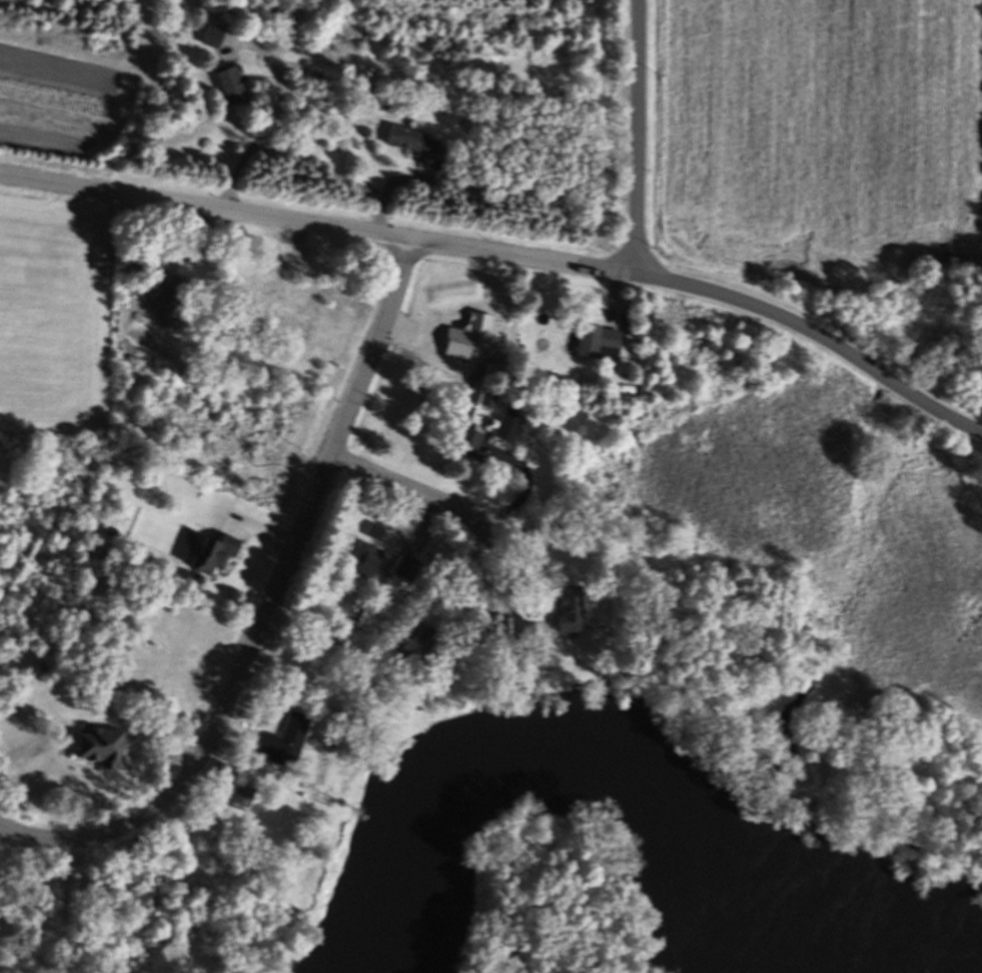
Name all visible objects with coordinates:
building: (213, 40)
building: (233, 89)
road: (265, 120)
road: (640, 137)
crop: (827, 139)
building: (414, 145)
road: (507, 255)
building: (167, 295)
building: (599, 346)
building: (510, 427)
building: (469, 446)
road: (520, 481)
road: (434, 498)
building: (376, 534)
building: (216, 555)
building: (367, 562)
building: (408, 570)
building: (571, 611)
road: (268, 612)
building: (427, 639)
building: (286, 744)
building: (102, 750)
river: (653, 784)
building: (244, 800)
building: (182, 887)
building: (222, 890)

